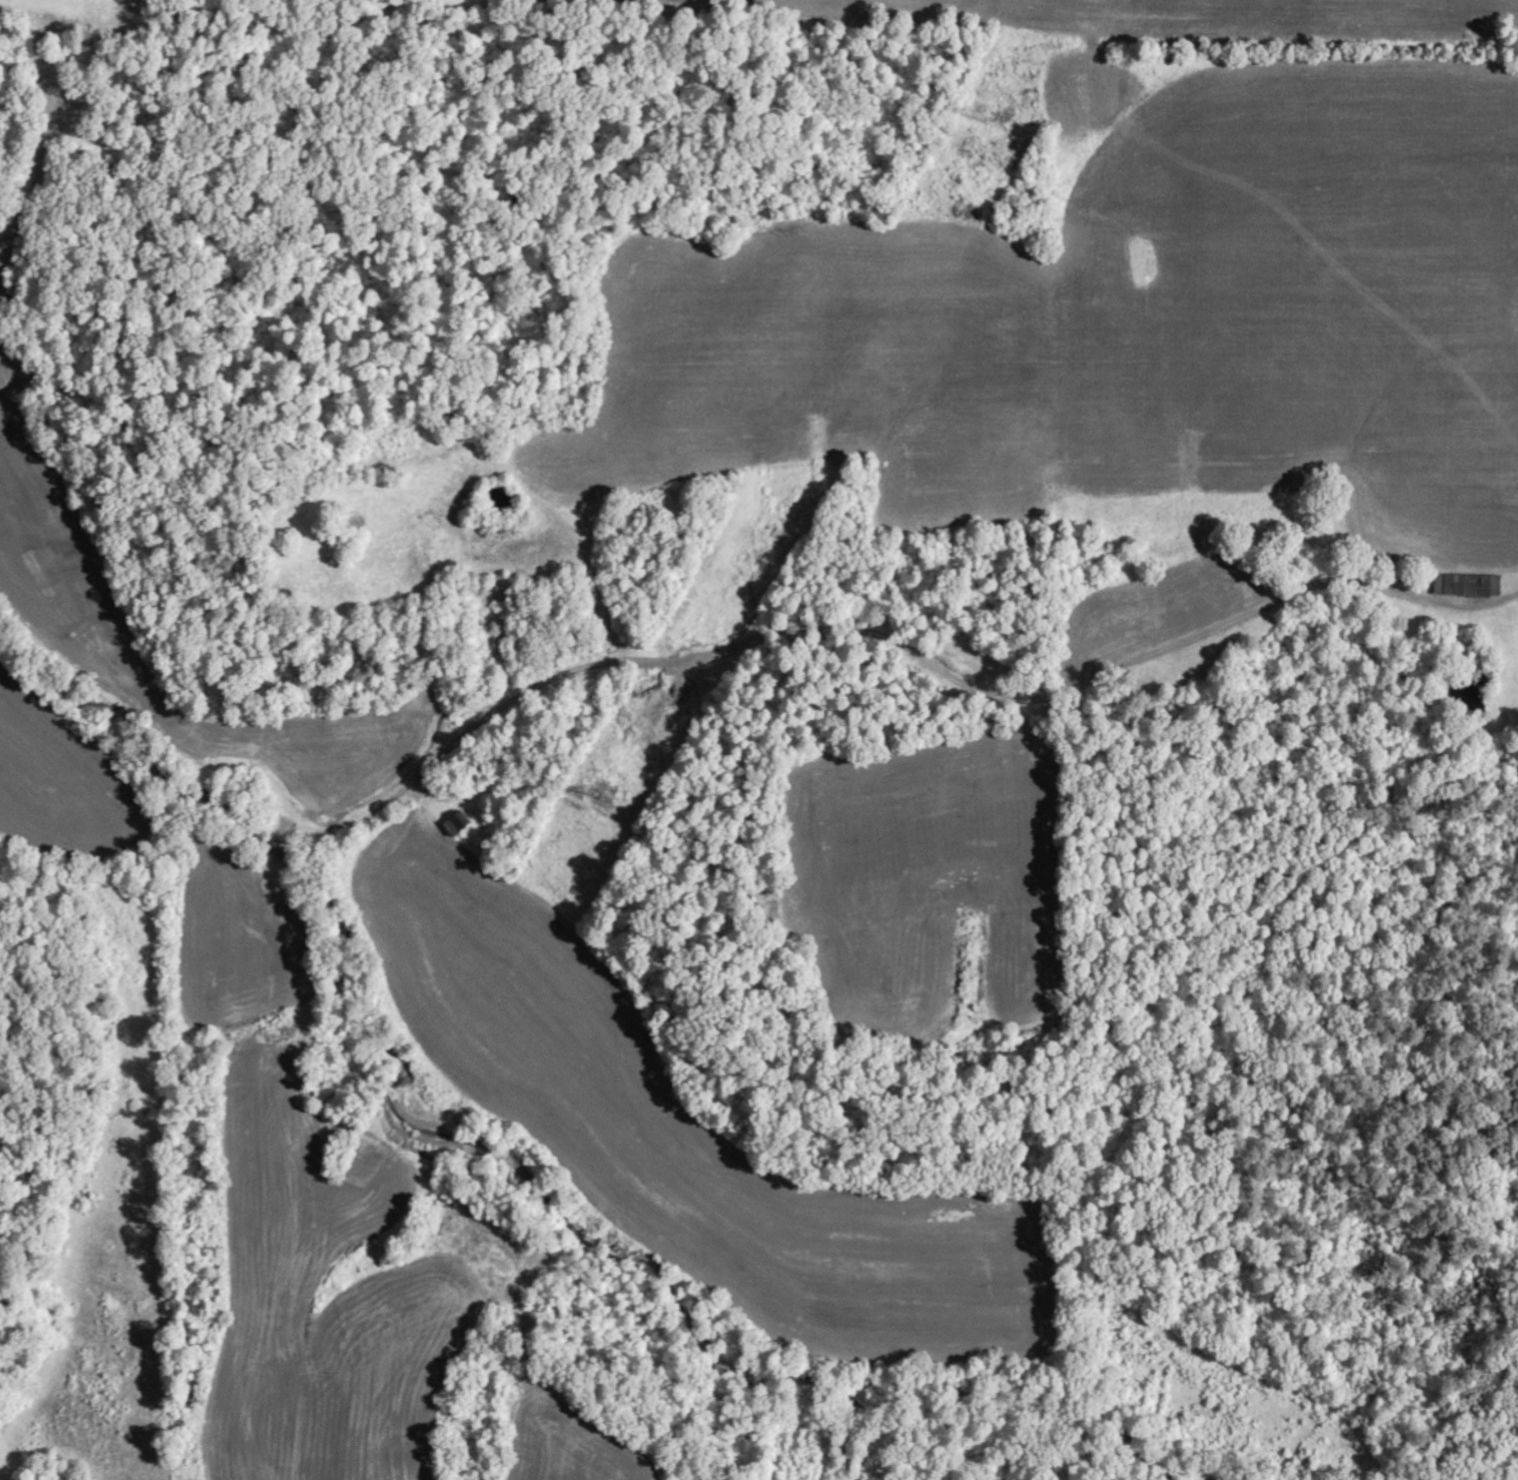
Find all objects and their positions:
power tower: (1010, 120)
building: (1468, 585)
power tower: (609, 797)
building: (458, 824)

